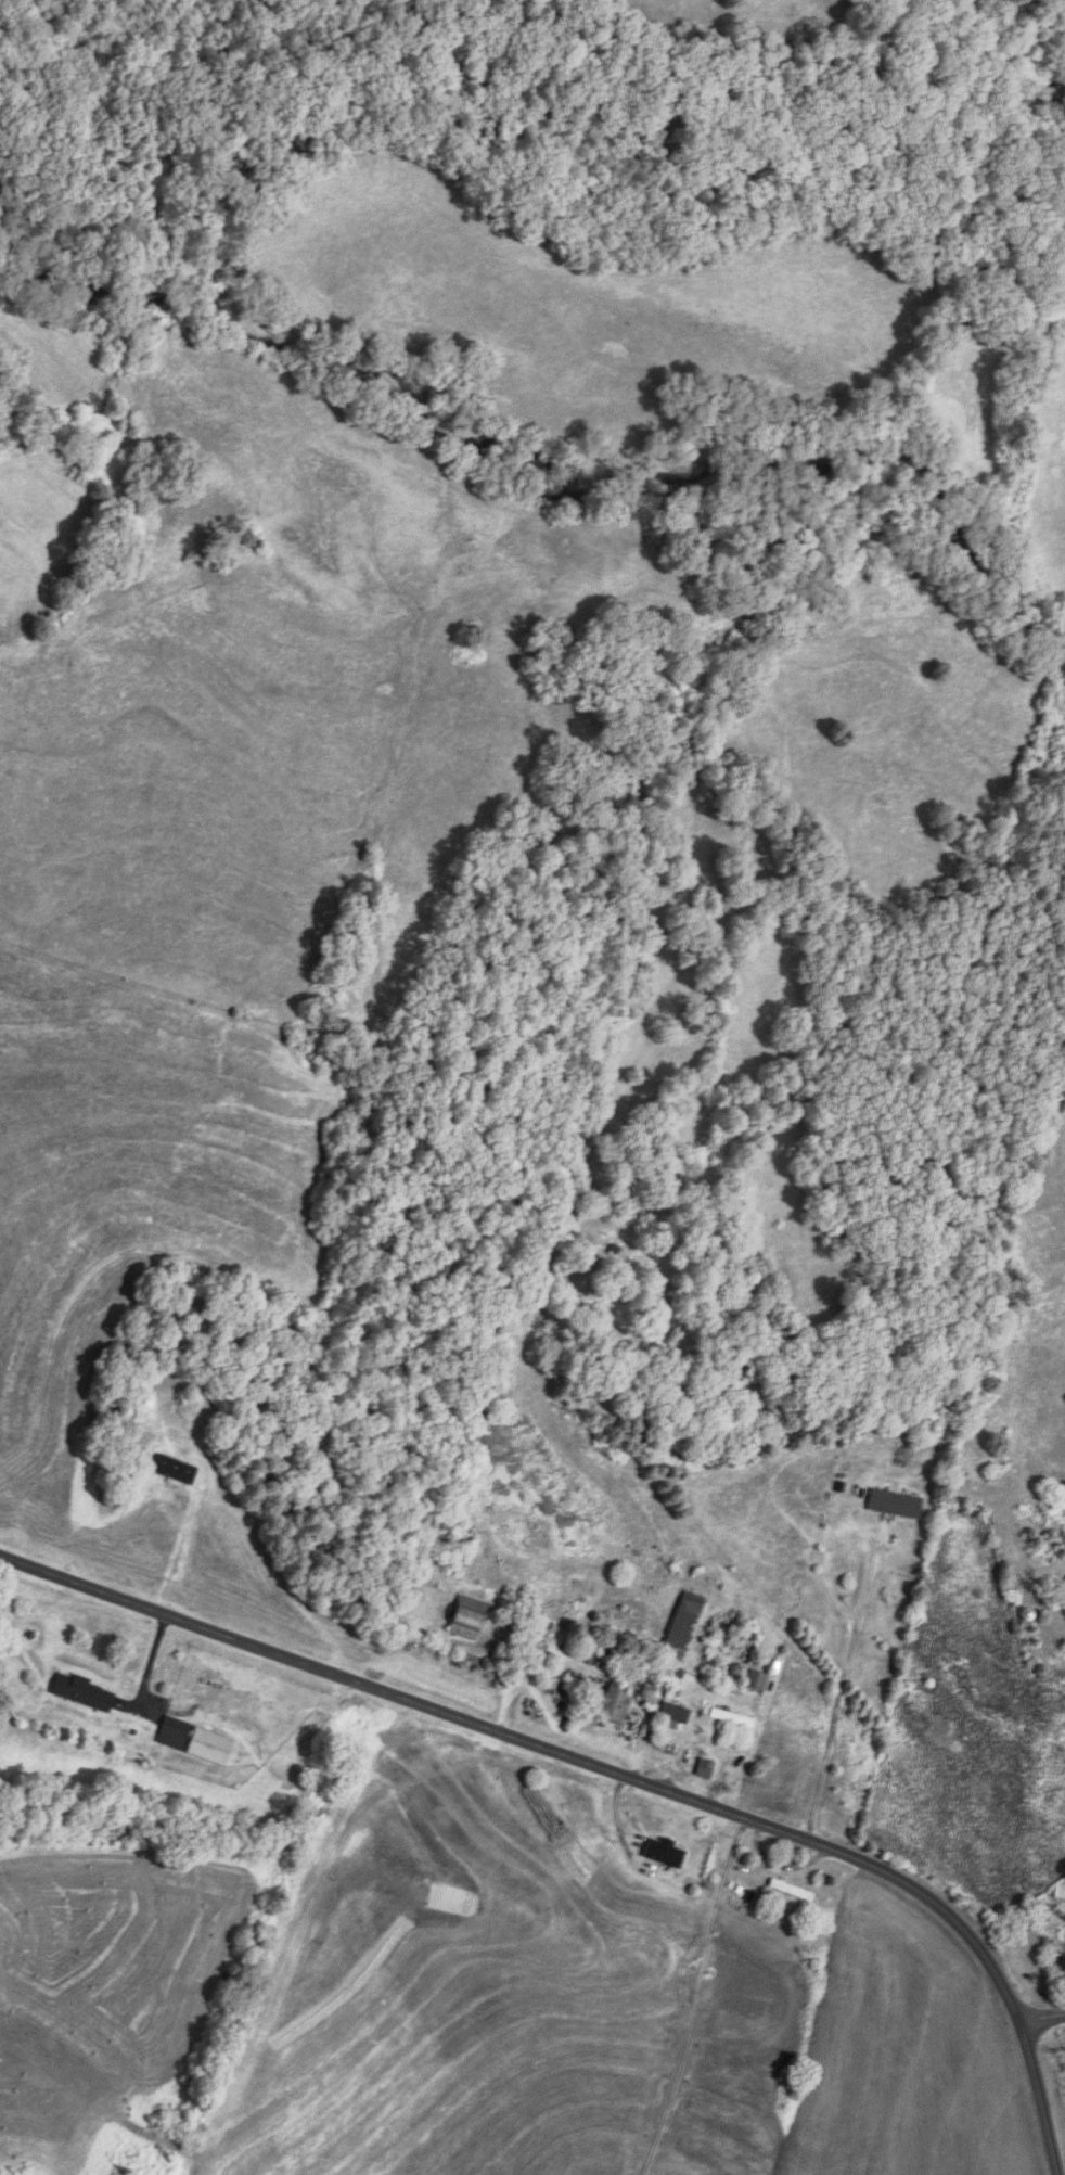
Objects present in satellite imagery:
building: (0, 447)
building: (897, 1505)
road: (859, 1616)
building: (471, 1619)
building: (687, 1625)
building: (759, 1680)
building: (86, 1692)
building: (652, 1693)
building: (617, 1704)
building: (677, 1713)
building: (734, 1718)
building: (197, 1742)
building: (705, 1768)
road: (616, 1771)
building: (792, 1891)
building: (1061, 1893)
road: (697, 1997)
road: (1042, 2017)

